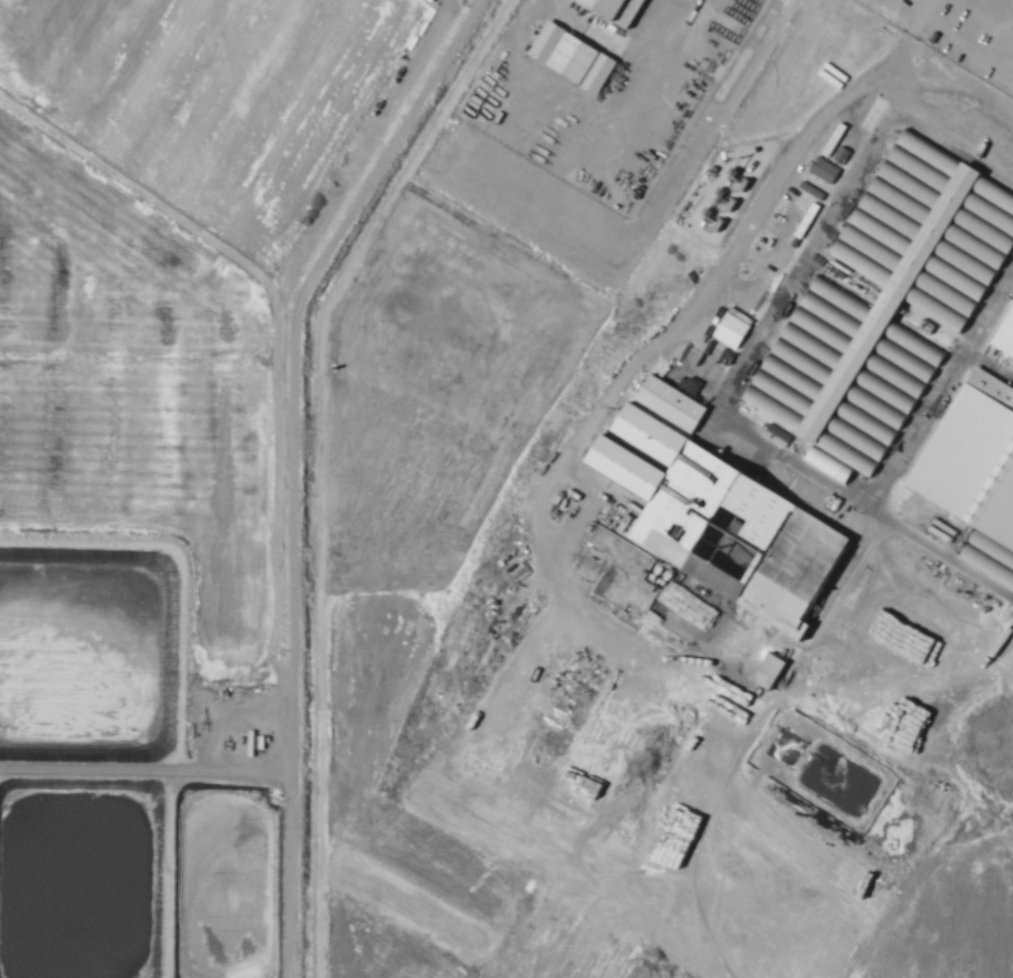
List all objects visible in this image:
road: (456, 8)
road: (472, 8)
building: (618, 10)
building: (573, 58)
road: (915, 97)
building: (841, 155)
building: (824, 169)
building: (887, 307)
building: (732, 329)
building: (673, 403)
building: (976, 469)
road: (292, 473)
building: (722, 519)
building: (770, 671)

